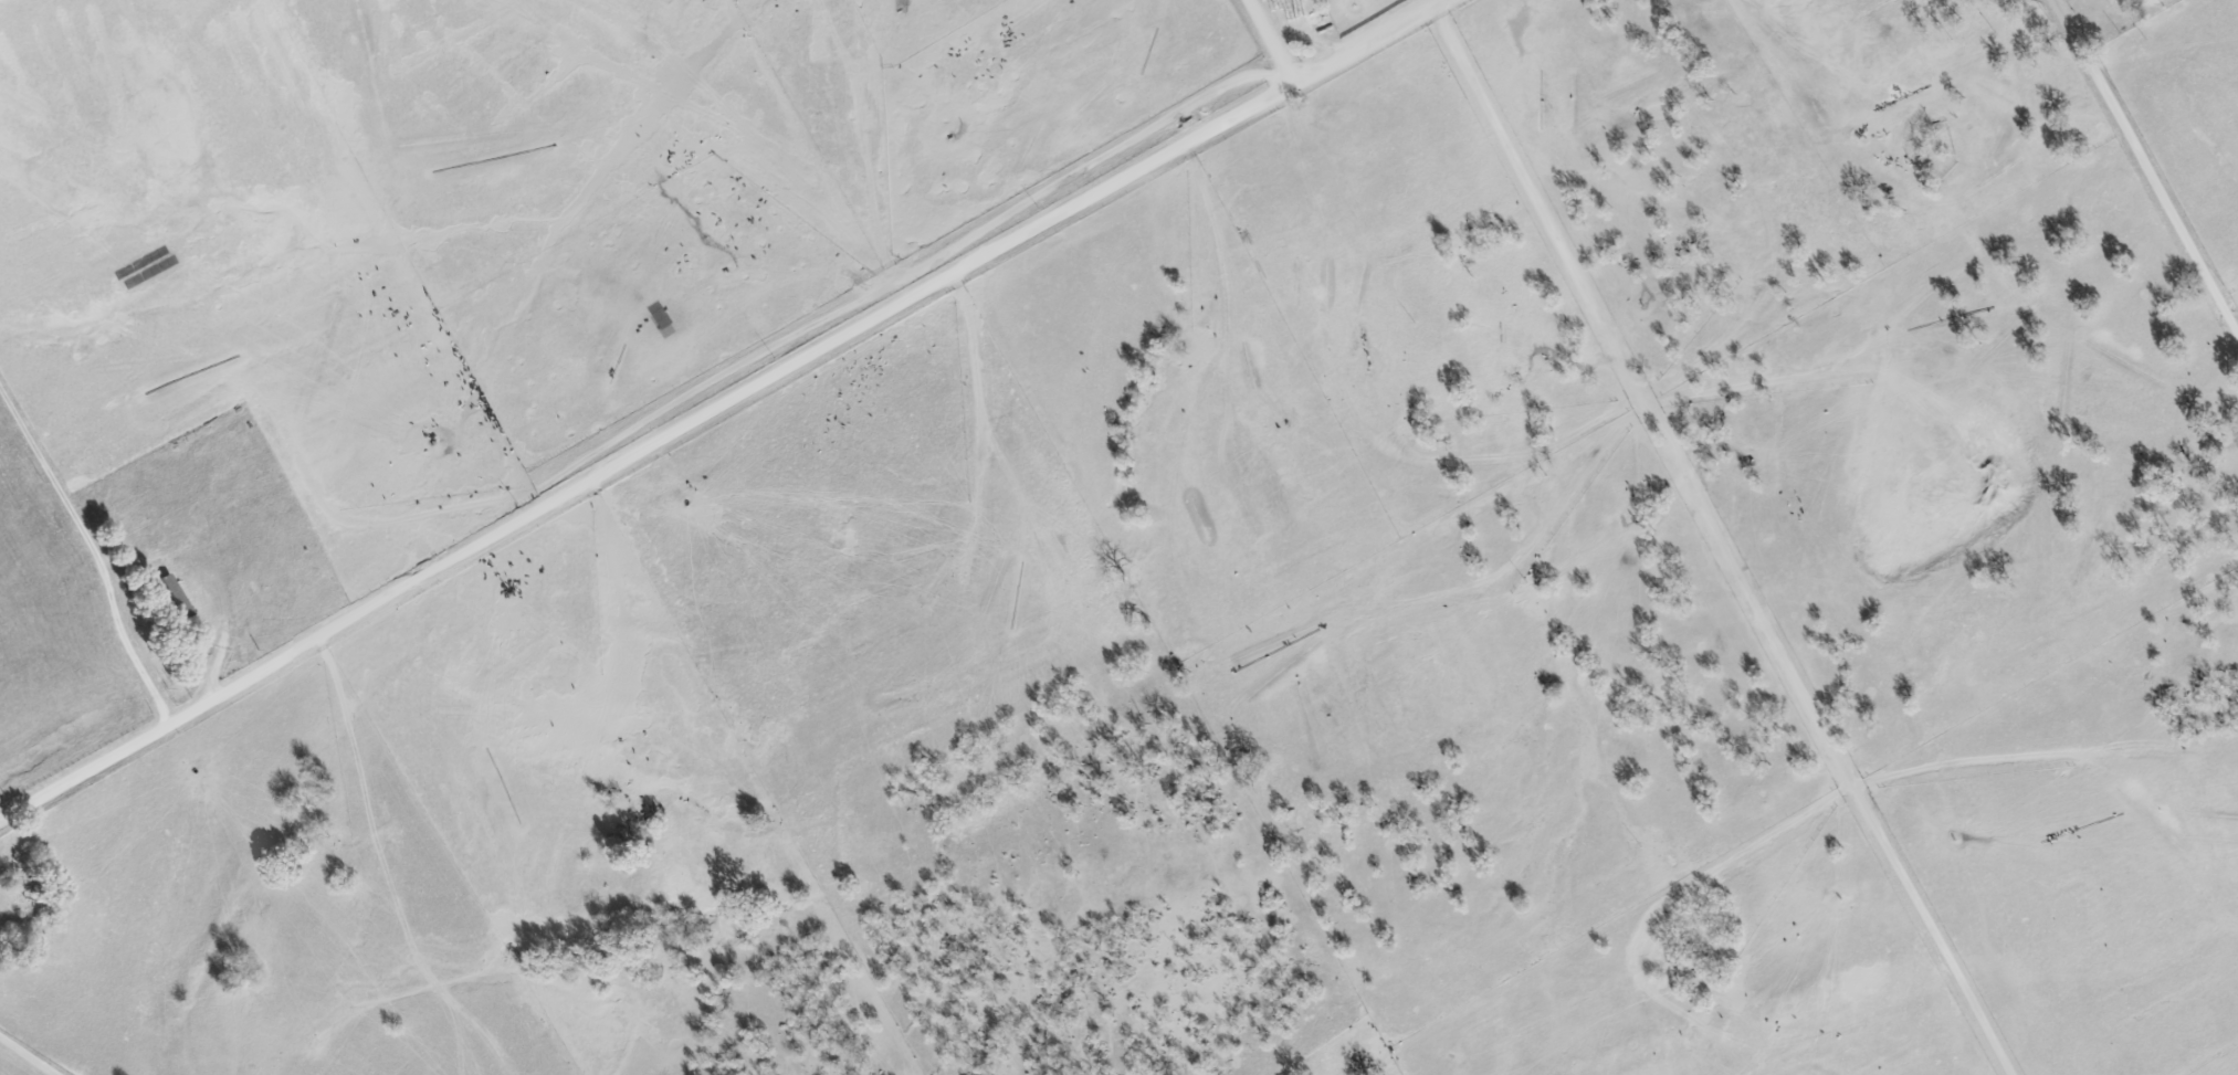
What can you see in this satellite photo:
road: (1280, 39)
road: (2148, 158)
road: (717, 407)
road: (1720, 540)
road: (94, 558)
road: (31, 1054)

